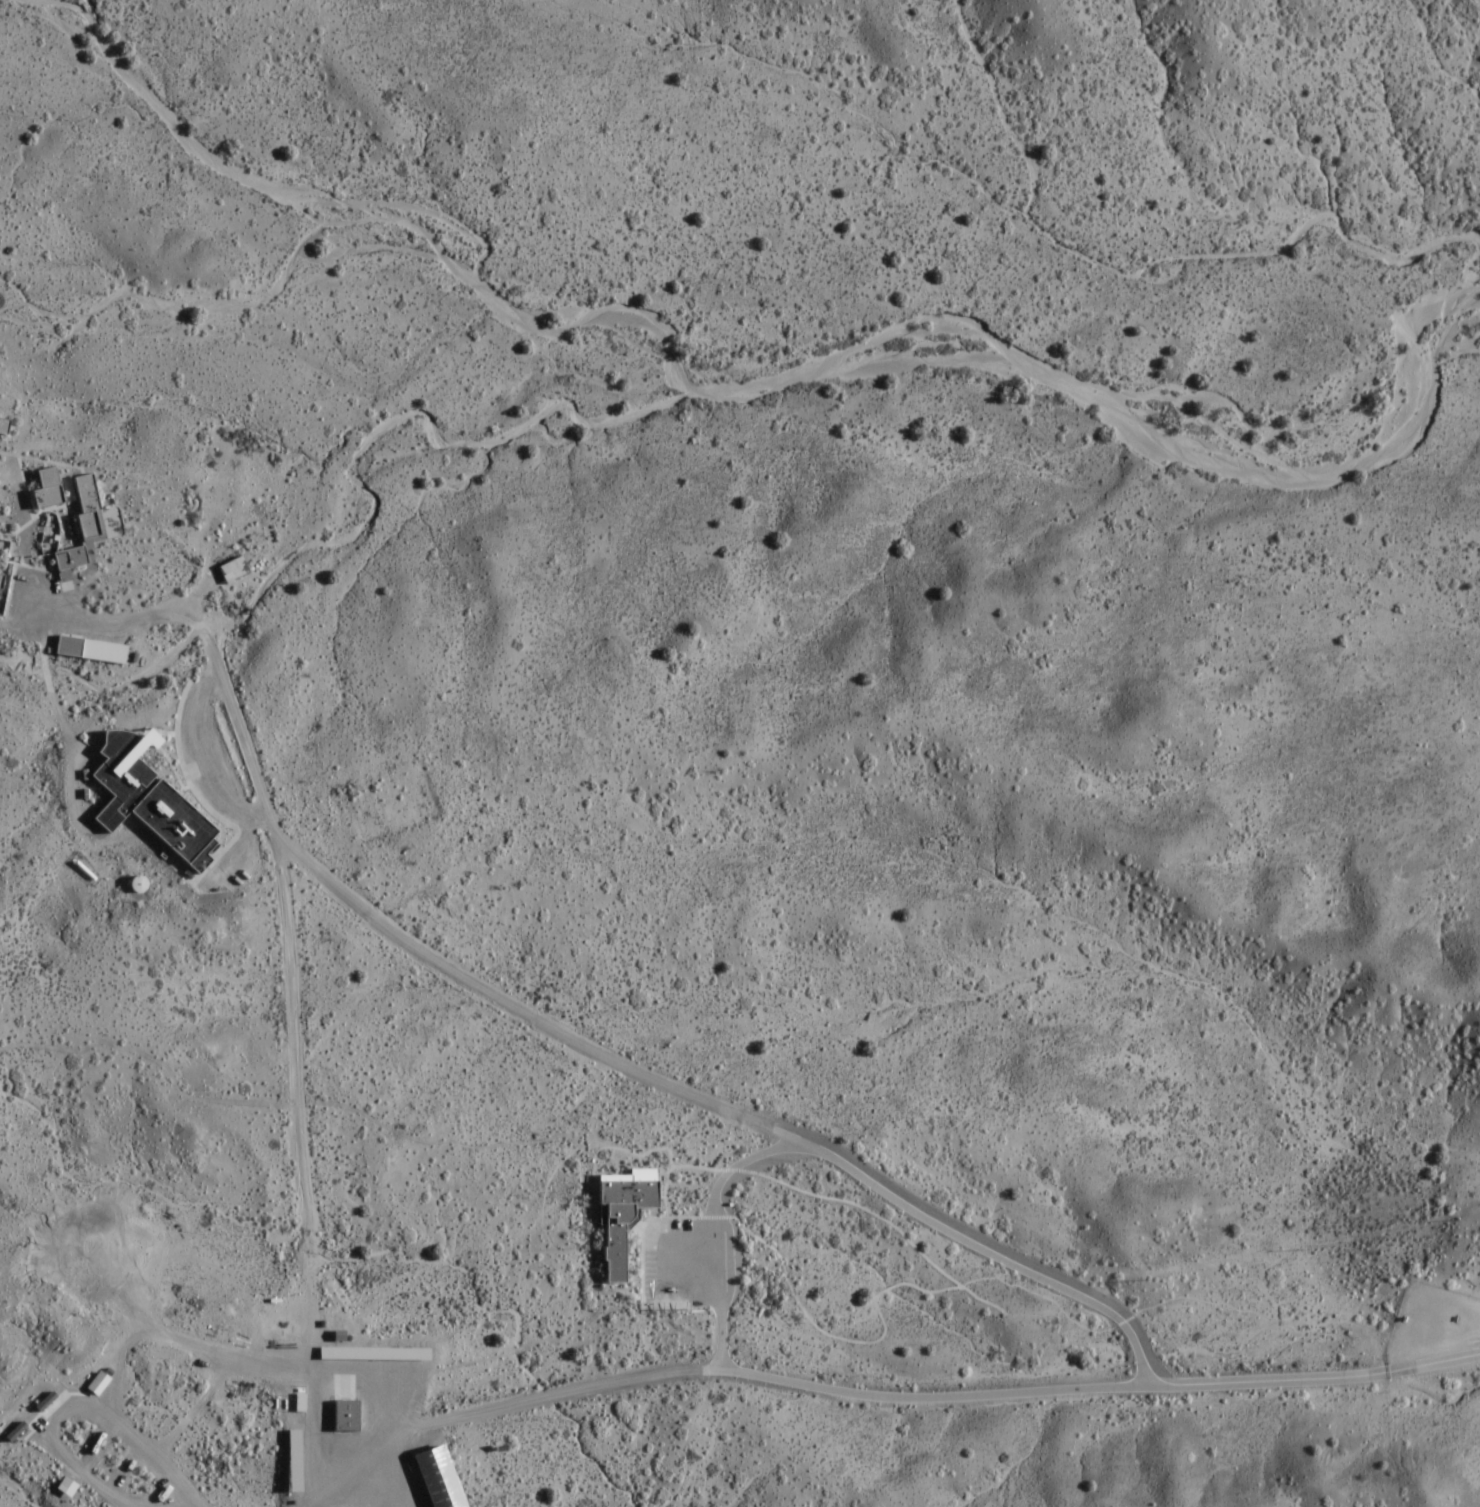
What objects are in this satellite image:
river: (1469, 300)
river: (909, 329)
river: (1445, 352)
river: (757, 388)
river: (1206, 418)
building: (3, 426)
road: (41, 460)
building: (45, 488)
road: (28, 499)
building: (83, 505)
road: (52, 507)
road: (10, 544)
building: (67, 560)
road: (13, 567)
building: (231, 568)
building: (1, 580)
road: (38, 626)
road: (43, 639)
road: (207, 642)
building: (88, 648)
road: (47, 672)
road: (162, 732)
road: (204, 766)
road: (173, 768)
road: (196, 795)
building: (146, 798)
road: (119, 838)
road: (290, 848)
storage tank: (137, 884)
road: (539, 1020)
road: (294, 1102)
road: (606, 1147)
road: (743, 1165)
road: (697, 1166)
road: (738, 1171)
road: (661, 1173)
road: (658, 1174)
building: (630, 1175)
road: (664, 1192)
road: (591, 1199)
road: (682, 1217)
road: (714, 1217)
building: (619, 1218)
road: (938, 1220)
road: (888, 1222)
road: (644, 1228)
road: (718, 1230)
road: (651, 1233)
road: (307, 1234)
road: (912, 1245)
road: (1275, 1248)
road: (642, 1255)
parking lot: (693, 1265)
road: (719, 1268)
road: (673, 1269)
road: (787, 1281)
water tower: (601, 1283)
road: (615, 1284)
road: (888, 1288)
road: (927, 1291)
road: (1413, 1299)
road: (720, 1303)
road: (809, 1318)
road: (1167, 1323)
road: (1346, 1323)
parking lot: (1433, 1323)
road: (145, 1325)
road: (1115, 1325)
road: (1132, 1333)
road: (721, 1337)
road: (528, 1343)
building: (371, 1353)
road: (701, 1354)
road: (1390, 1356)
road: (1434, 1362)
road: (121, 1370)
building: (108, 1371)
road: (1280, 1379)
building: (96, 1382)
road: (586, 1386)
road: (946, 1395)
building: (44, 1401)
road: (196, 1407)
road: (77, 1411)
road: (49, 1412)
building: (345, 1415)
road: (427, 1424)
building: (14, 1431)
road: (771, 1458)
building: (292, 1461)
road: (685, 1468)
building: (436, 1478)
building: (64, 1486)

